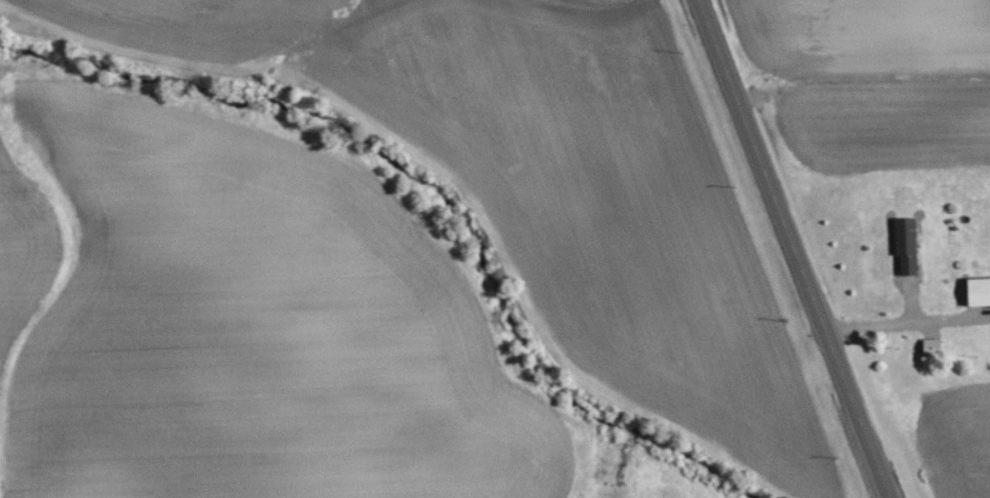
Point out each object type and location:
building: (907, 245)
road: (793, 249)
building: (979, 291)
road: (907, 324)
building: (933, 347)

